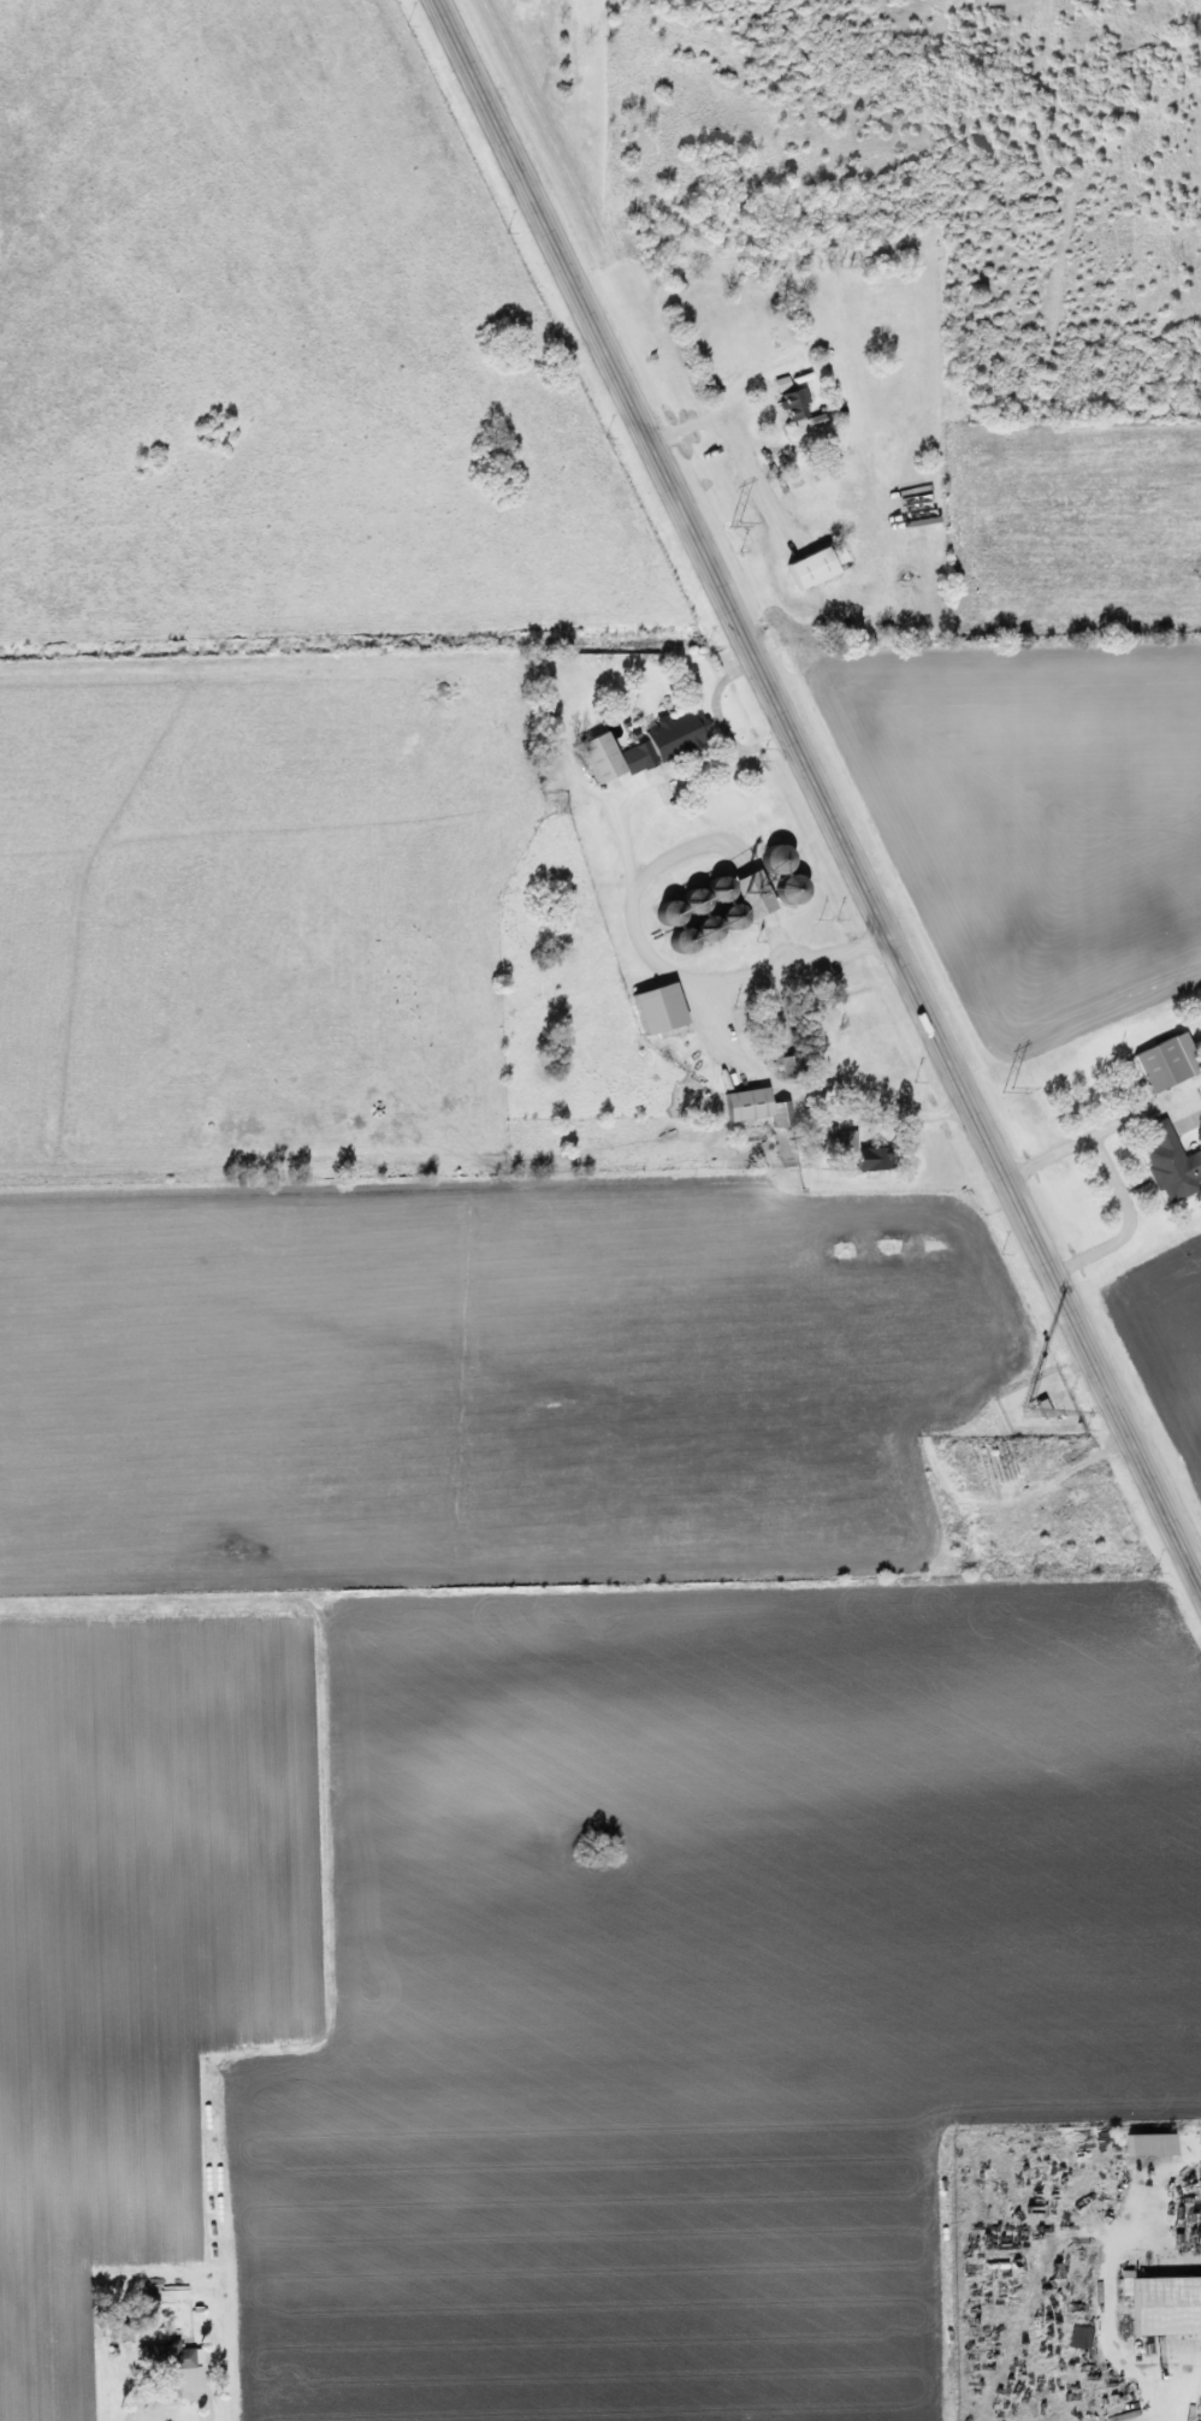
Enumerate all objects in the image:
road: (763, 395)
building: (793, 406)
power tower: (733, 525)
building: (814, 566)
road: (720, 697)
building: (670, 738)
building: (599, 757)
road: (674, 776)
road: (818, 788)
building: (774, 866)
building: (787, 889)
building: (712, 910)
road: (780, 943)
road: (675, 982)
building: (1165, 1062)
power tower: (1006, 1089)
building: (753, 1107)
road: (923, 1119)
building: (856, 1149)
building: (1169, 1165)
road: (1116, 1184)
road: (343, 1864)
building: (1148, 2147)
building: (1165, 2308)
building: (164, 2358)

